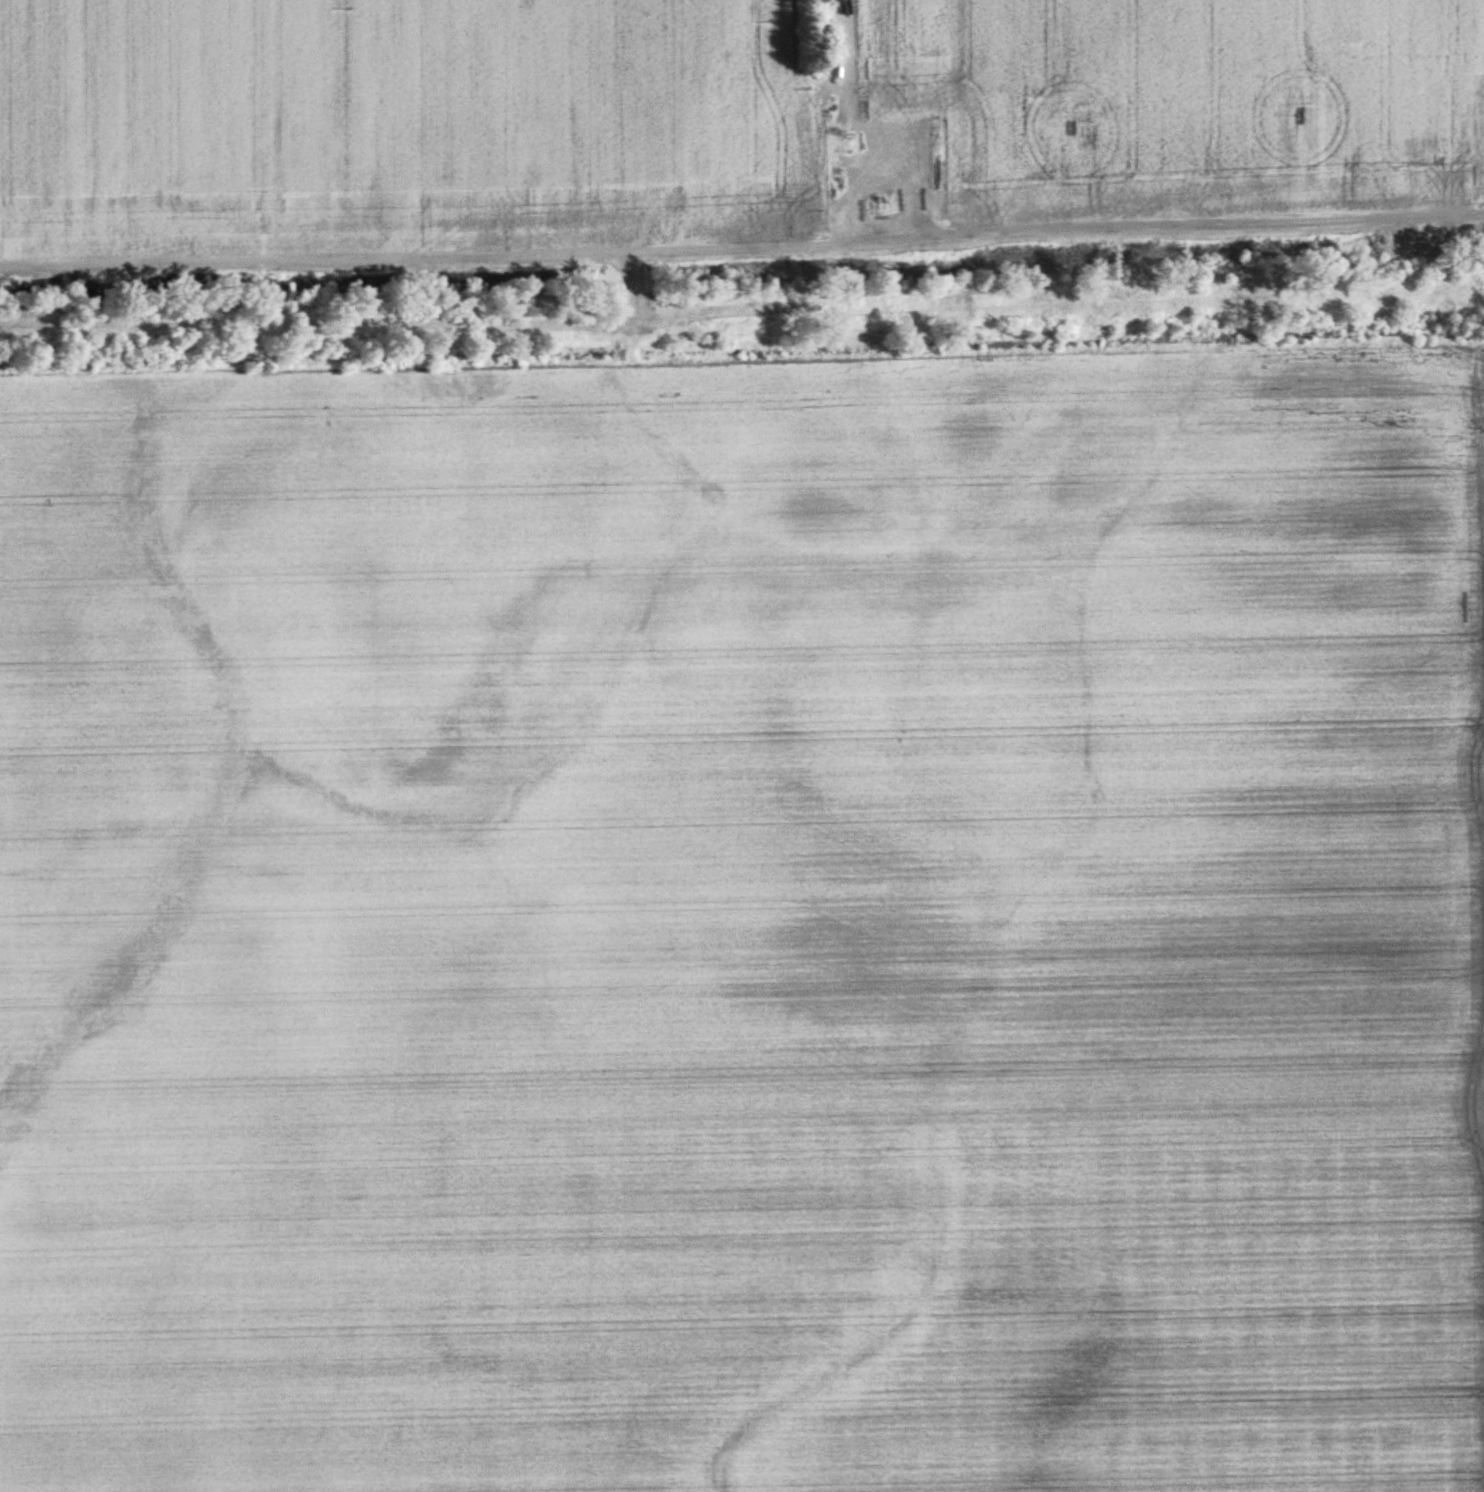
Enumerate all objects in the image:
crop: (1181, 101)
crop: (404, 122)
road: (742, 237)

